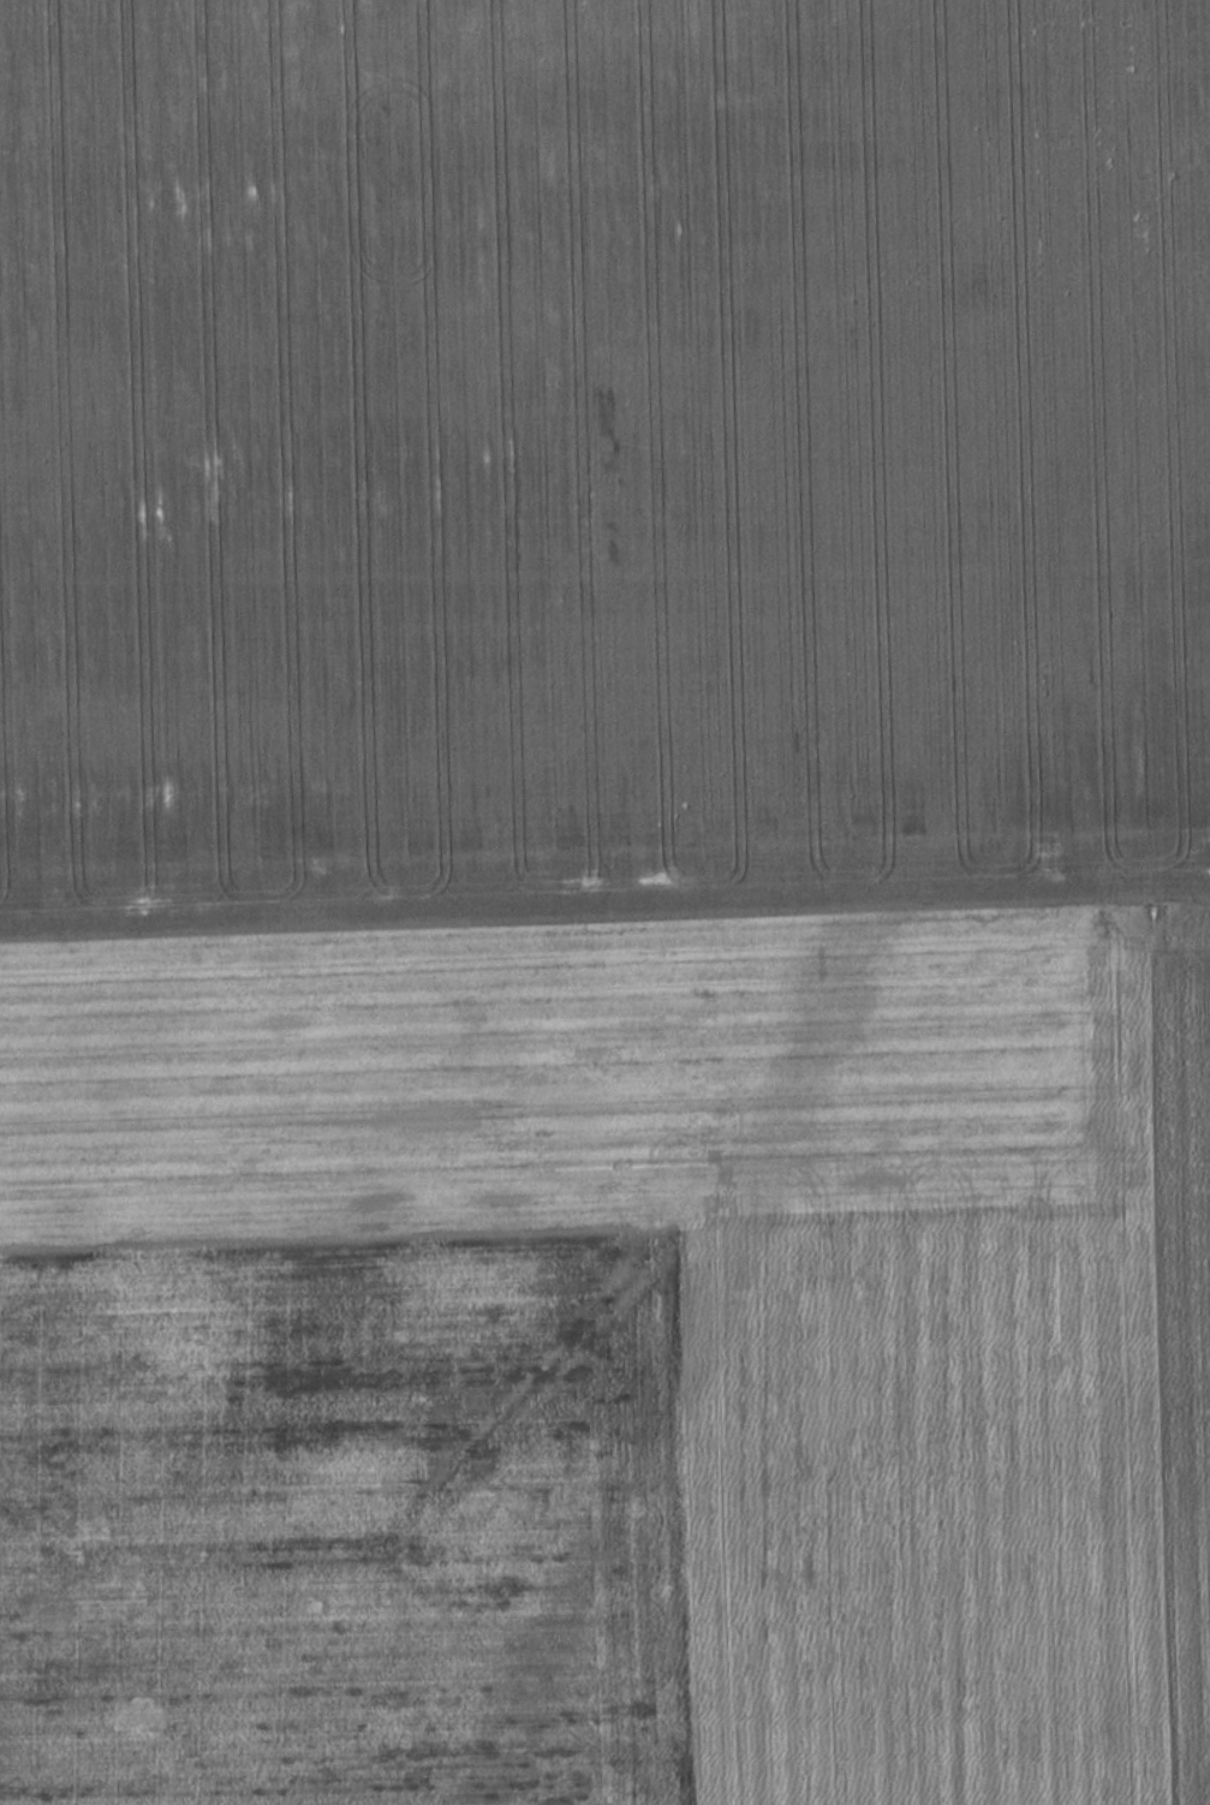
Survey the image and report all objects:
crop: (601, 465)
crop: (609, 1368)

